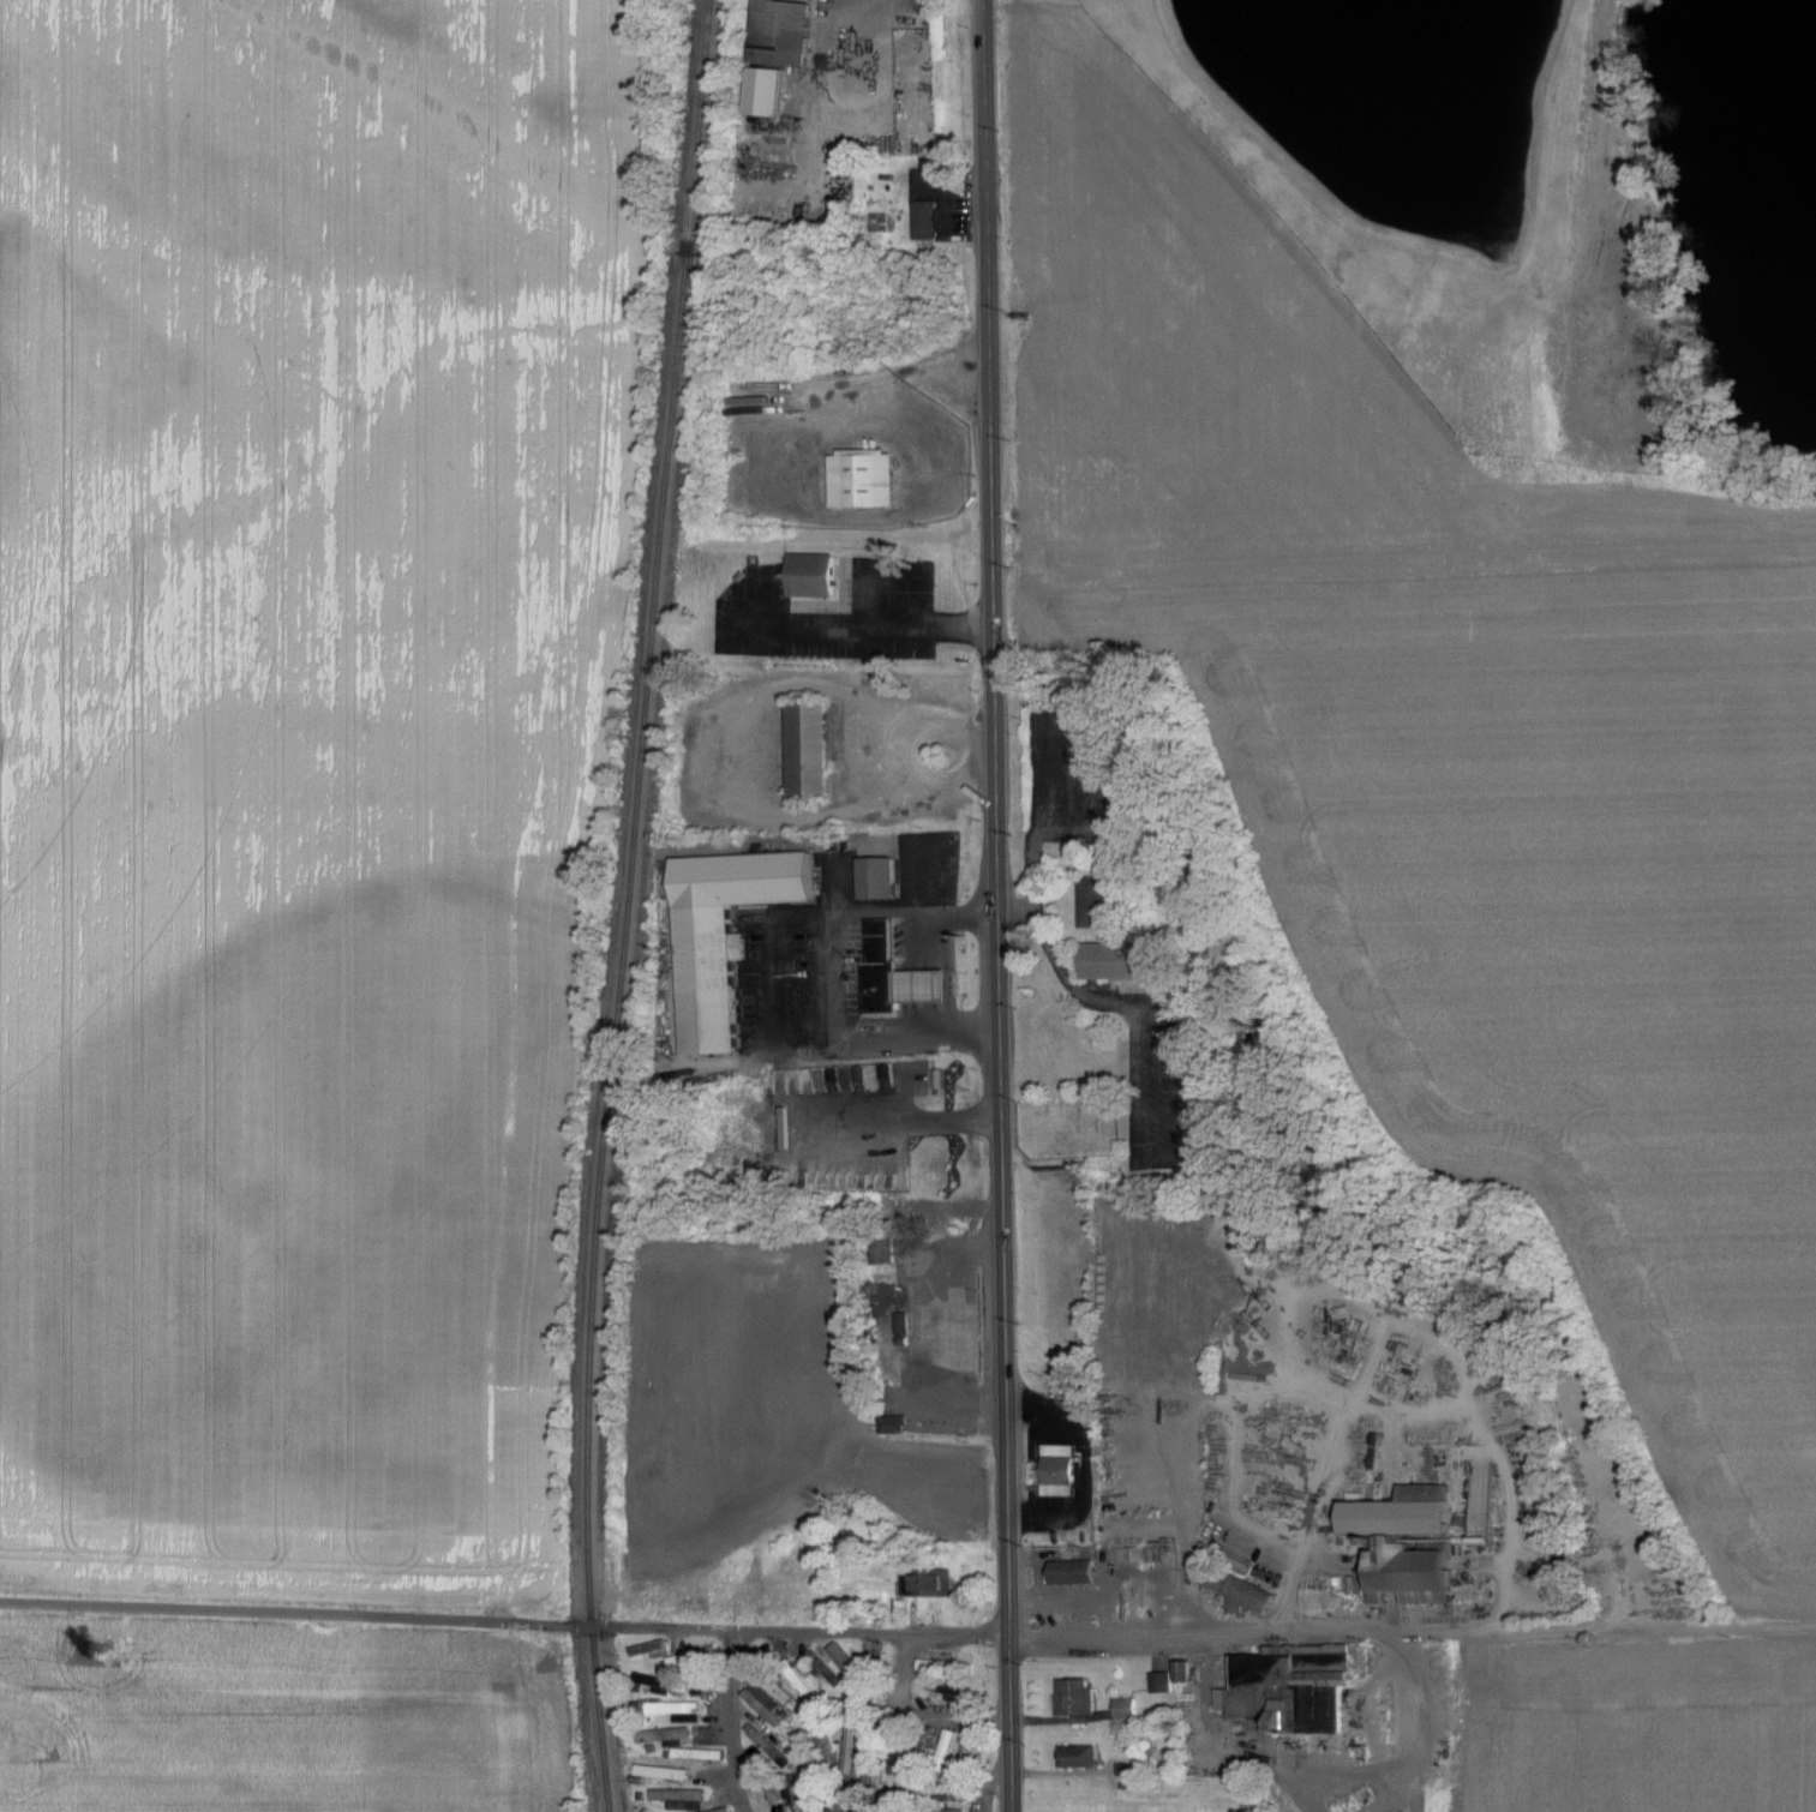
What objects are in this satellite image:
road: (851, 25)
building: (775, 49)
building: (927, 220)
building: (862, 479)
building: (810, 574)
road: (862, 630)
building: (805, 750)
road: (690, 756)
road: (1037, 838)
building: (876, 875)
building: (1092, 901)
railway: (628, 905)
road: (997, 906)
building: (723, 931)
building: (1111, 960)
building: (893, 972)
gas station: (893, 972)
road: (828, 973)
road: (1063, 973)
road: (769, 976)
building: (886, 1249)
building: (888, 1304)
road: (925, 1333)
road: (1410, 1403)
building: (897, 1424)
building: (1059, 1470)
building: (1406, 1542)
building: (1074, 1568)
building: (1230, 1579)
building: (931, 1583)
road: (1101, 1615)
road: (510, 1621)
road: (1505, 1631)
building: (651, 1648)
building: (846, 1657)
building: (942, 1666)
building: (1188, 1670)
building: (1163, 1681)
building: (661, 1684)
building: (775, 1686)
building: (1295, 1686)
building: (1079, 1697)
building: (681, 1708)
building: (765, 1708)
building: (1128, 1709)
road: (739, 1721)
building: (820, 1728)
building: (669, 1736)
building: (948, 1745)
road: (1424, 1750)
building: (853, 1751)
building: (971, 1752)
building: (696, 1753)
building: (1081, 1757)
building: (665, 1771)
building: (767, 1777)
road: (993, 1780)
building: (796, 1793)
building: (683, 1799)
building: (724, 1810)
building: (957, 1810)
building: (648, 1811)

